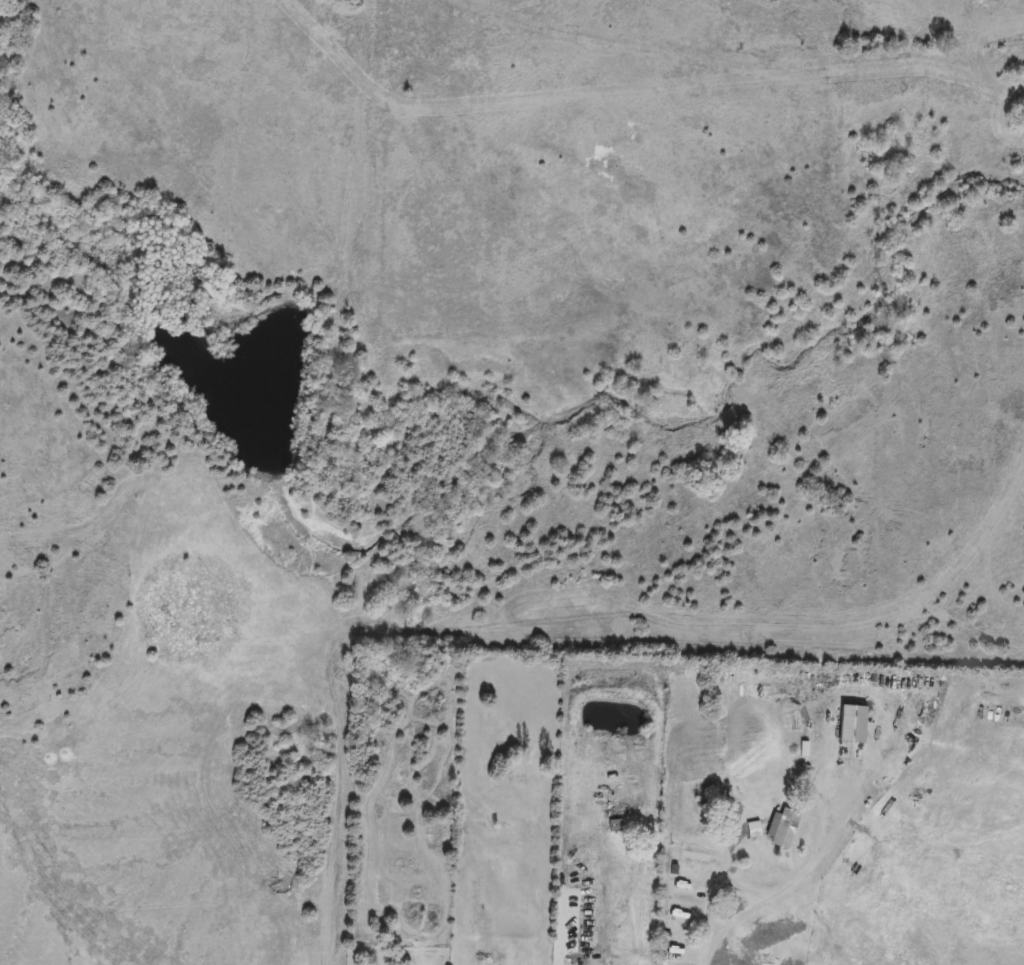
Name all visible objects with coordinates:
building: (615, 825)
building: (784, 829)
building: (753, 830)
road: (789, 885)

